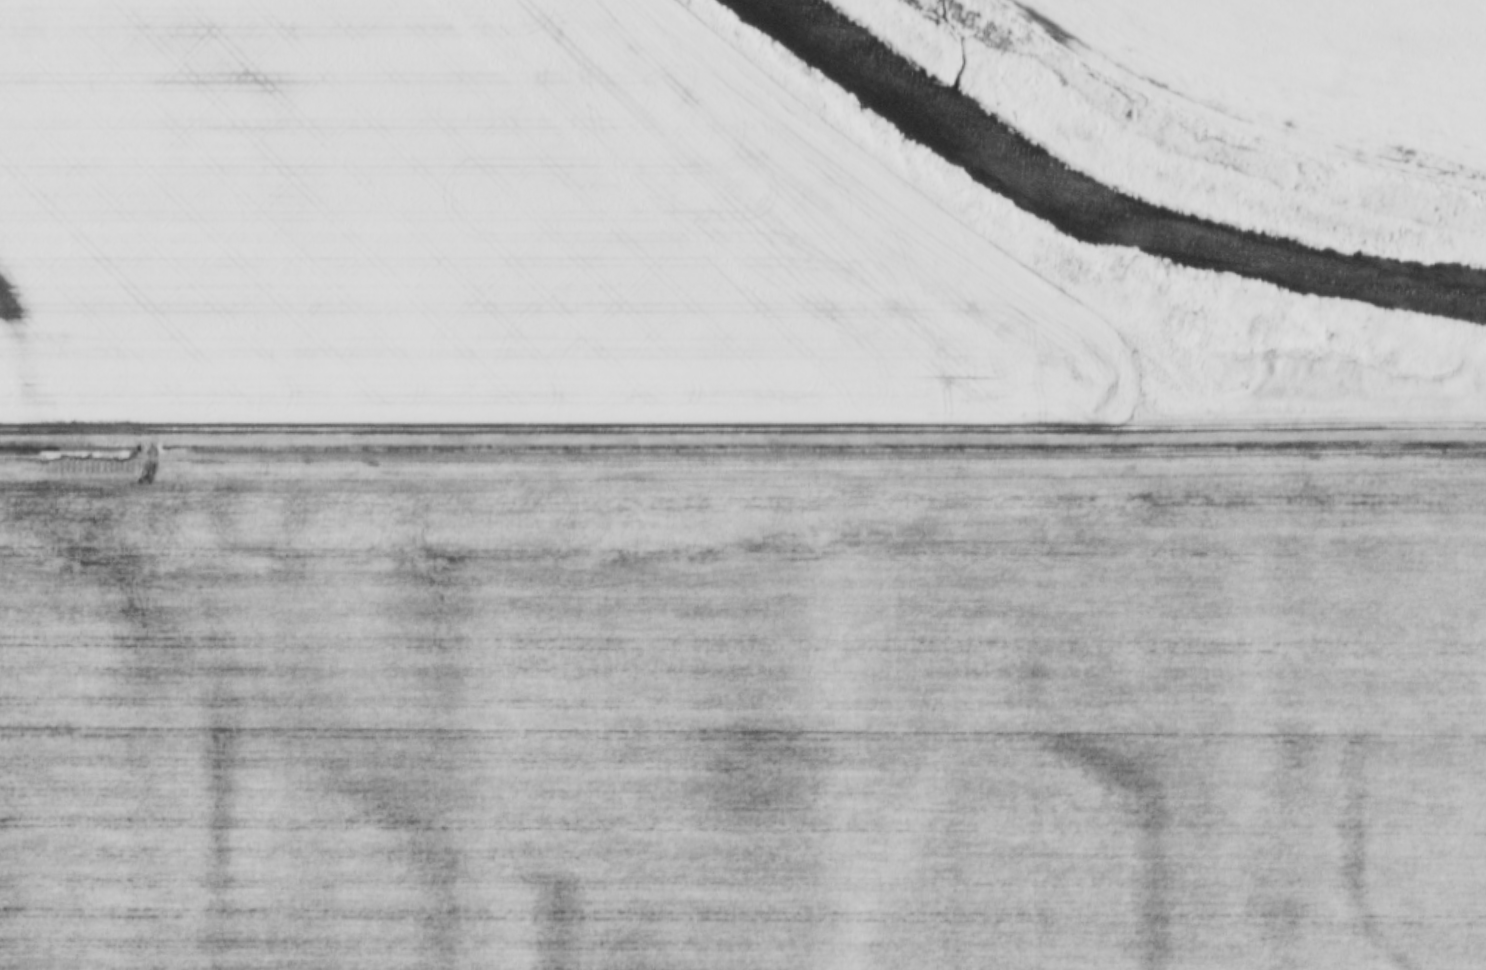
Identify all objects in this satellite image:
river: (871, 53)
crop: (1307, 69)
crop: (476, 228)
river: (1209, 232)
road: (743, 429)
crop: (744, 709)

